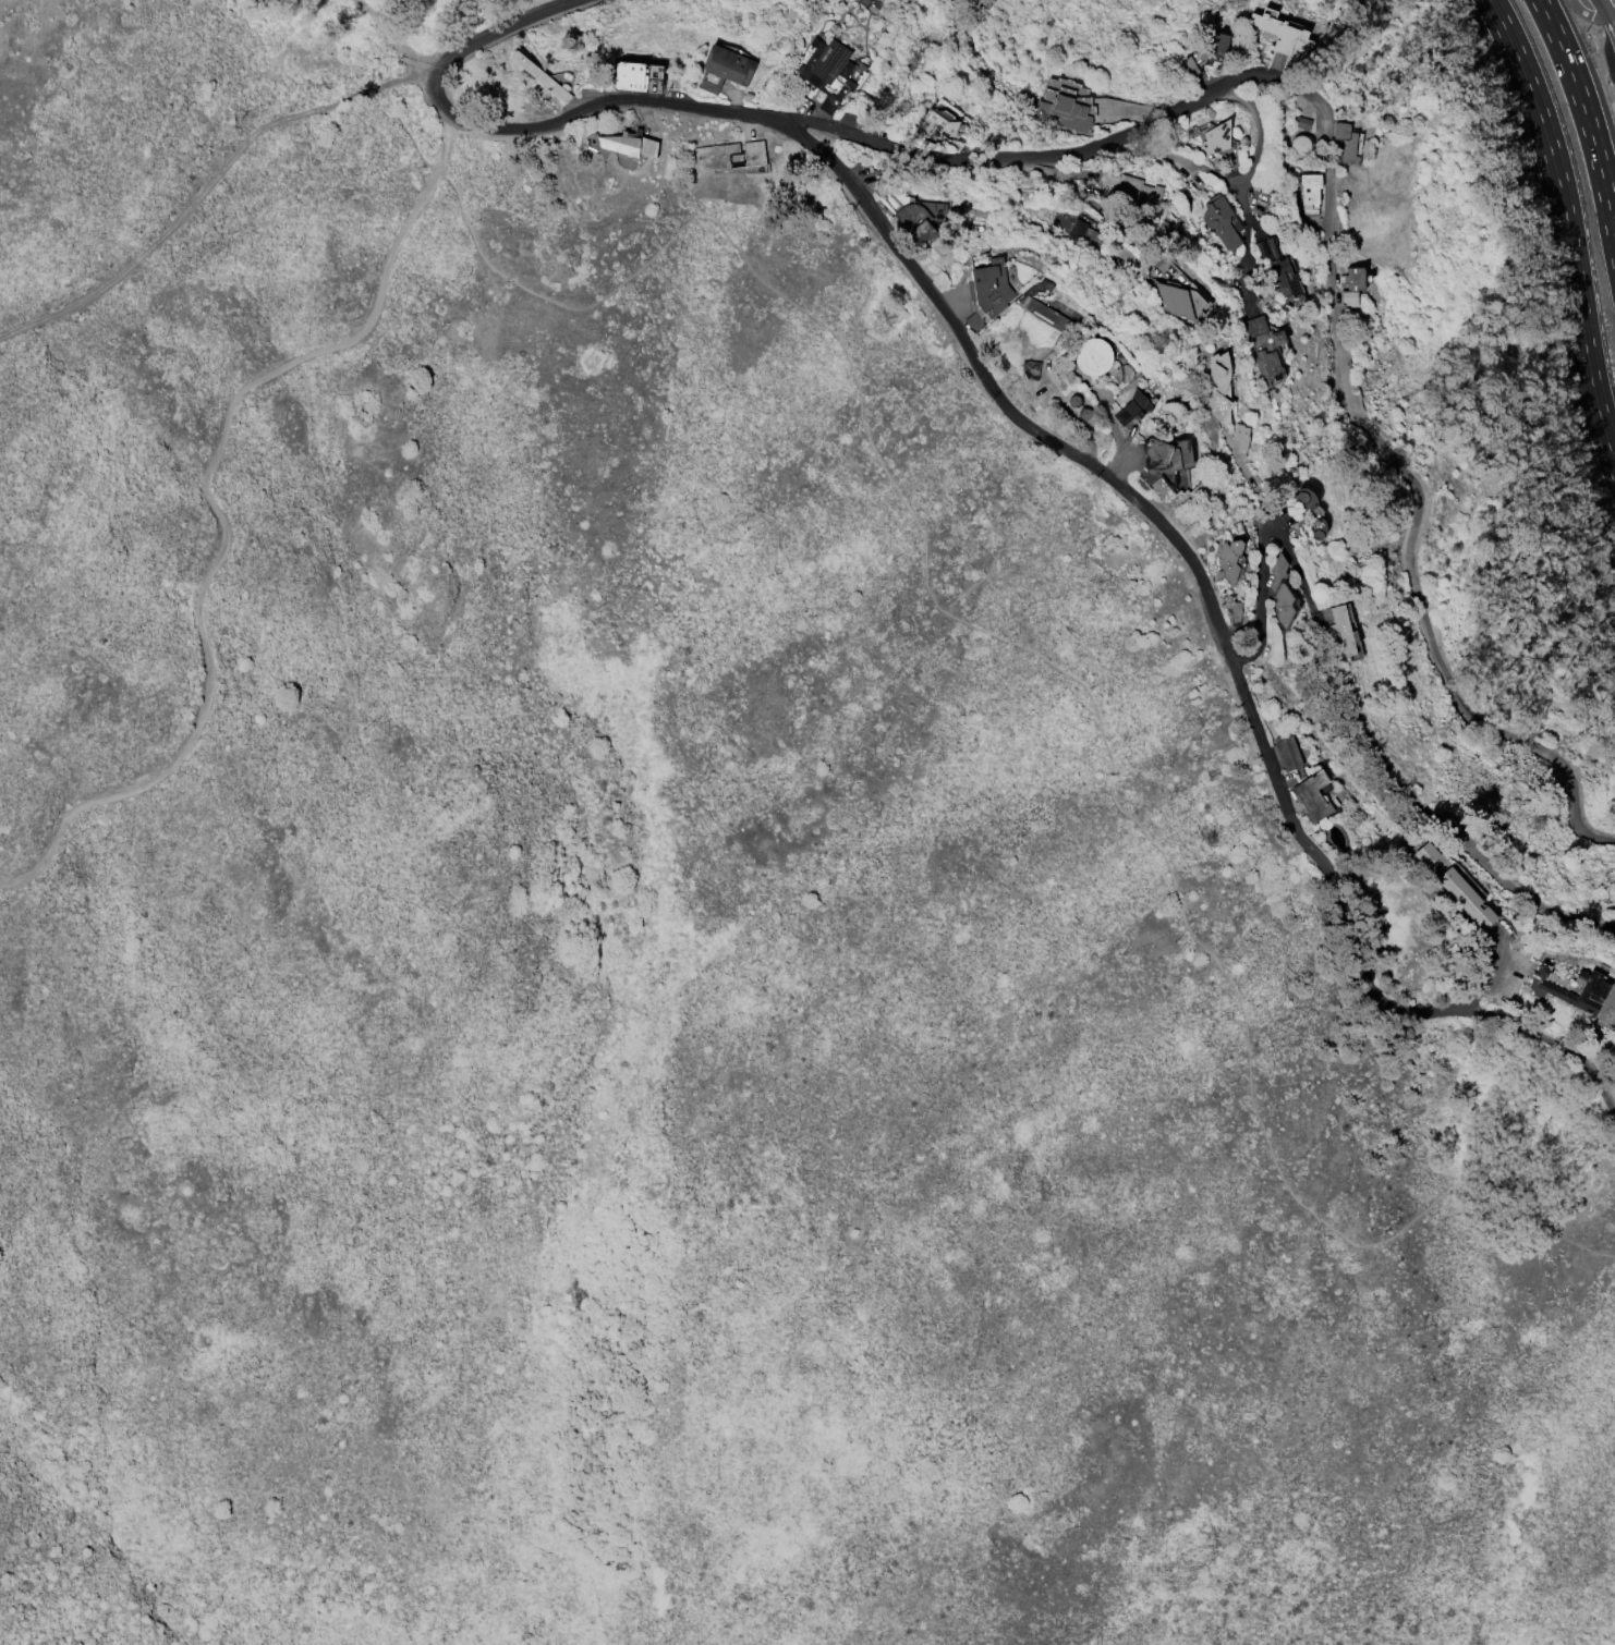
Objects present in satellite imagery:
road: (1584, 13)
road: (1608, 14)
road: (1605, 21)
road: (379, 22)
road: (497, 28)
building: (1280, 32)
building: (1216, 46)
road: (420, 60)
building: (1190, 65)
building: (722, 68)
building: (829, 70)
building: (635, 72)
road: (413, 73)
building: (539, 75)
road: (1276, 78)
building: (1064, 103)
road: (1586, 119)
building: (1301, 121)
building: (937, 122)
road: (406, 132)
building: (1211, 135)
road: (440, 139)
building: (1347, 142)
building: (629, 143)
building: (1299, 145)
building: (709, 158)
road: (1225, 175)
road: (208, 183)
building: (1130, 187)
building: (1309, 188)
road: (1098, 206)
building: (921, 216)
building: (1221, 220)
building: (1078, 227)
road: (1567, 228)
road: (1247, 241)
building: (1280, 278)
building: (1352, 283)
building: (986, 291)
building: (1178, 300)
building: (1041, 304)
building: (1264, 348)
building: (1090, 358)
building: (1030, 368)
building: (1218, 387)
building: (1131, 407)
building: (1240, 435)
building: (1165, 454)
road: (1250, 479)
building: (1310, 512)
road: (227, 534)
building: (1227, 560)
building: (1279, 590)
building: (1234, 611)
road: (1213, 616)
building: (1343, 627)
road: (1054, 668)
road: (1358, 707)
building: (1286, 752)
building: (1312, 795)
building: (1425, 853)
building: (1465, 897)
road: (1489, 979)
building: (1580, 992)

